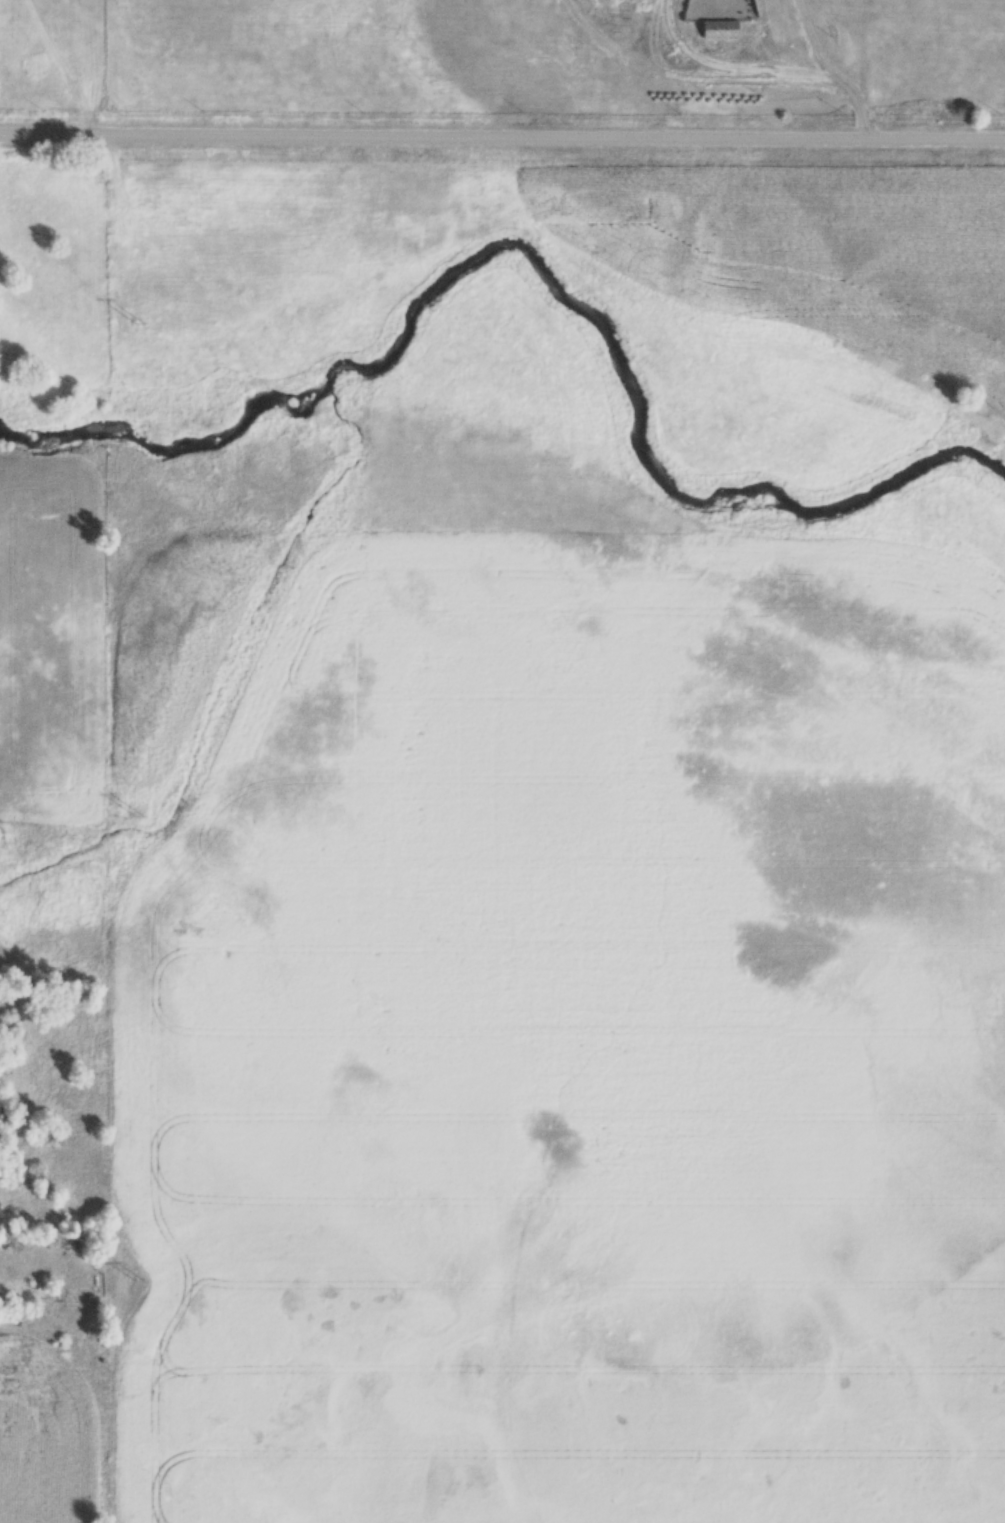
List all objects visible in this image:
building: (723, 31)
road: (862, 67)
road: (502, 138)
power tower: (141, 331)
power tower: (140, 818)
building: (2, 1115)
power tower: (141, 1281)

